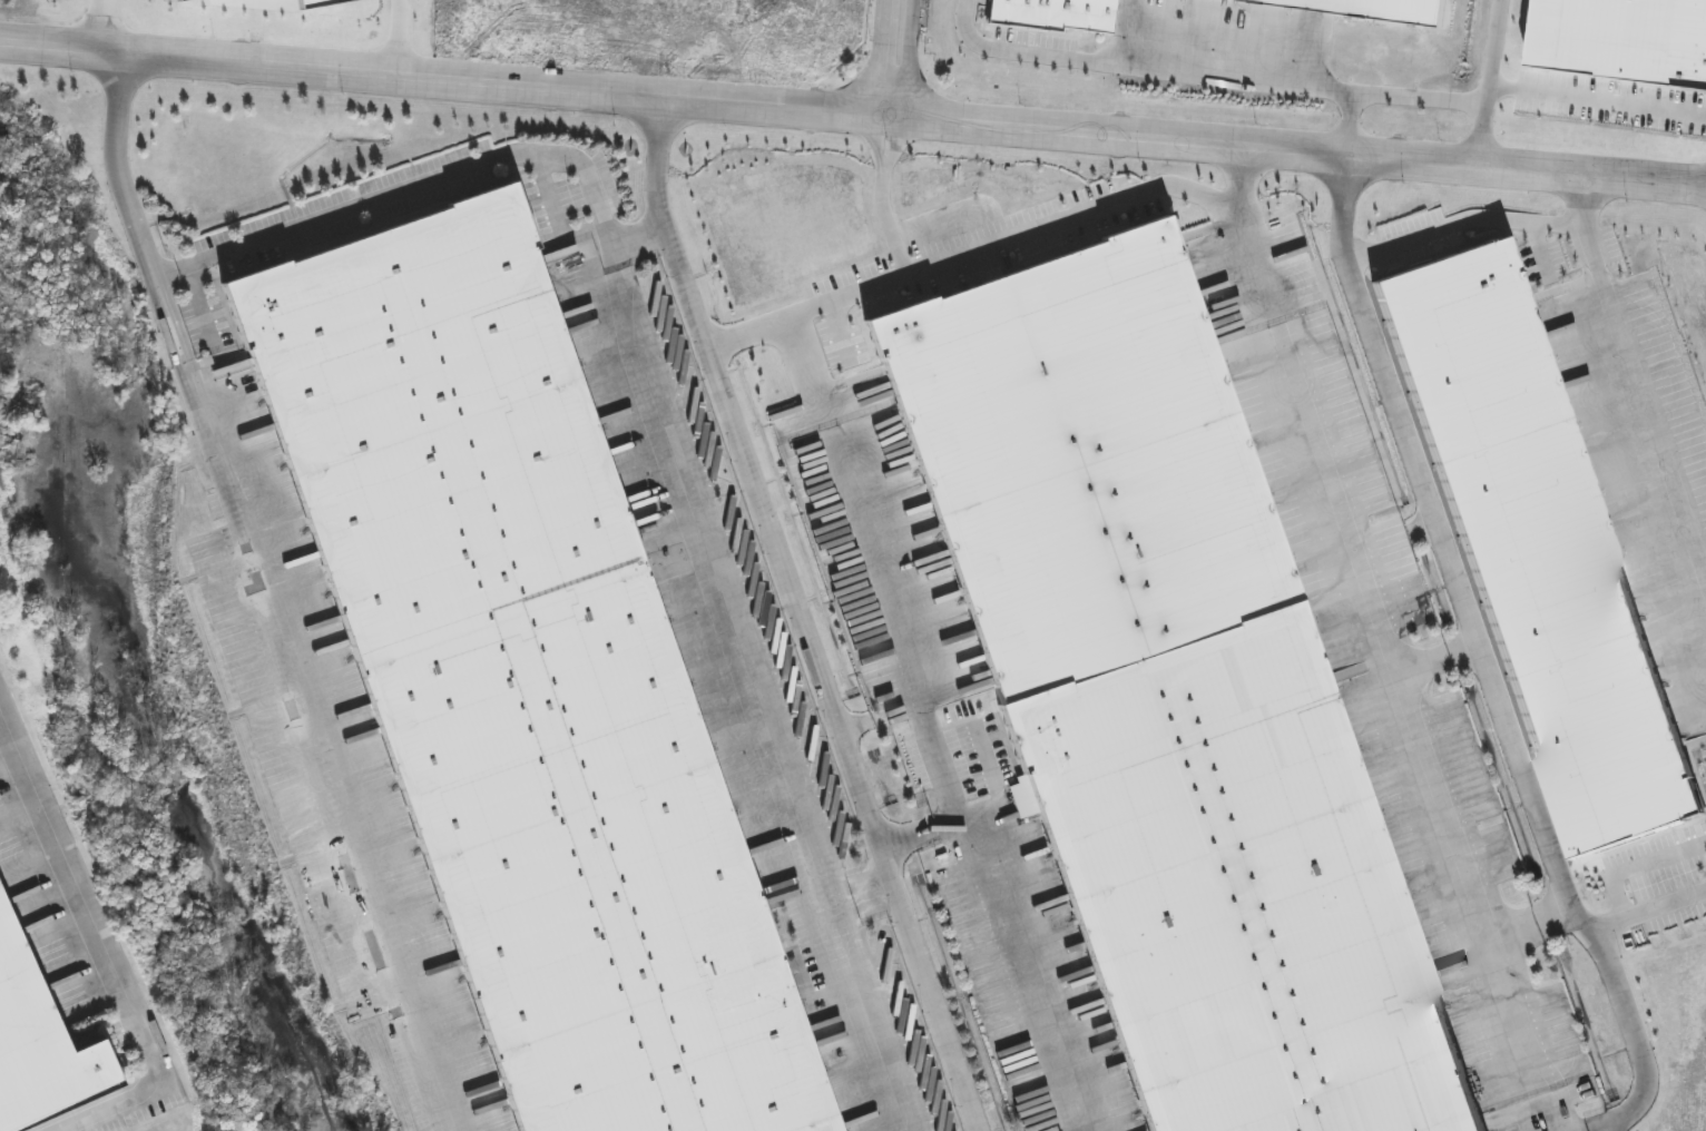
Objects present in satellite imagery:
building: (1374, 9)
building: (1056, 17)
road: (100, 28)
road: (396, 39)
road: (885, 57)
road: (911, 58)
road: (1207, 77)
road: (1489, 85)
road: (1597, 97)
road: (853, 112)
road: (1351, 126)
road: (437, 177)
road: (121, 180)
road: (1582, 203)
road: (1099, 209)
road: (640, 237)
road: (183, 267)
road: (621, 277)
road: (884, 285)
road: (1606, 286)
road: (1441, 533)
building: (1539, 548)
road: (803, 617)
road: (1465, 635)
building: (524, 683)
building: (1167, 698)
road: (302, 704)
road: (764, 709)
road: (922, 724)
road: (1451, 793)
road: (958, 810)
road: (912, 828)
road: (1636, 866)
road: (876, 894)
road: (843, 905)
road: (1655, 908)
road: (1552, 909)
road: (1517, 922)
road: (106, 941)
road: (1028, 968)
road: (1635, 1014)
building: (40, 1048)
road: (1594, 1123)

